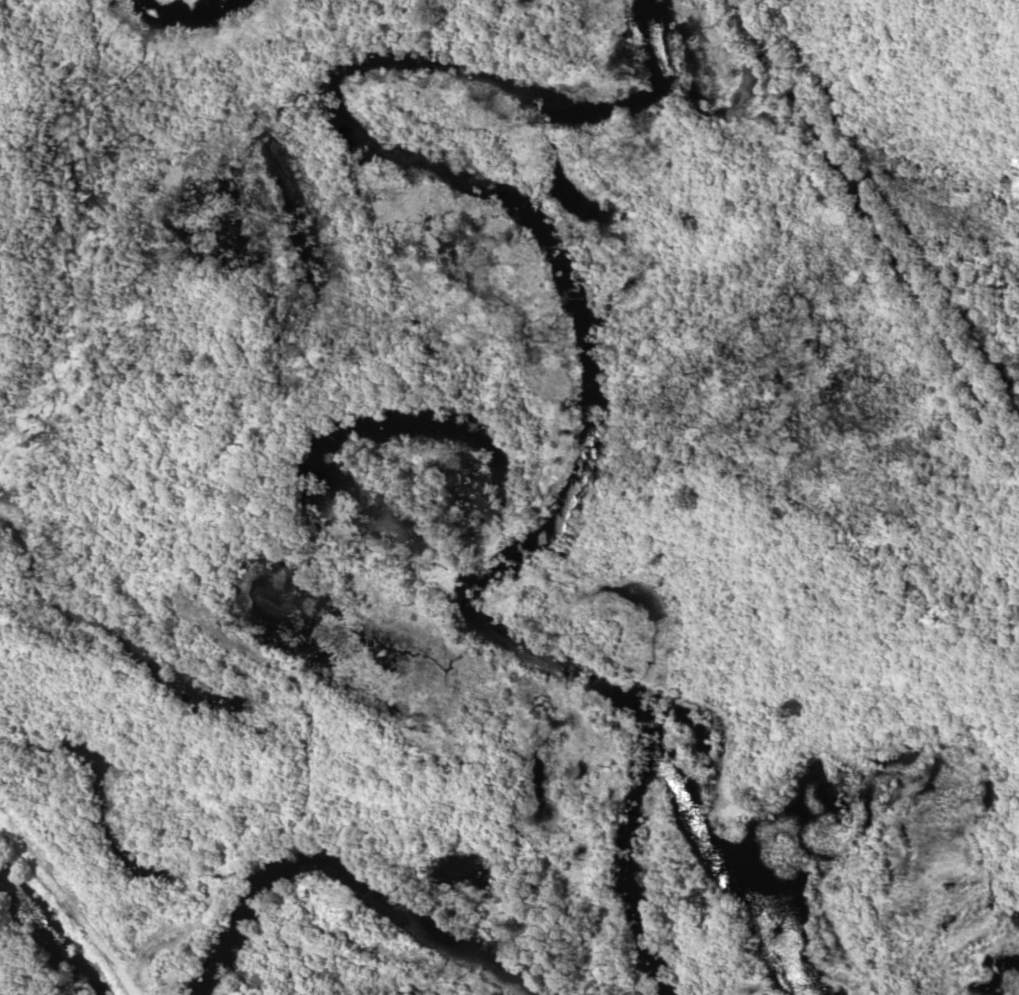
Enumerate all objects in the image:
road: (69, 908)

